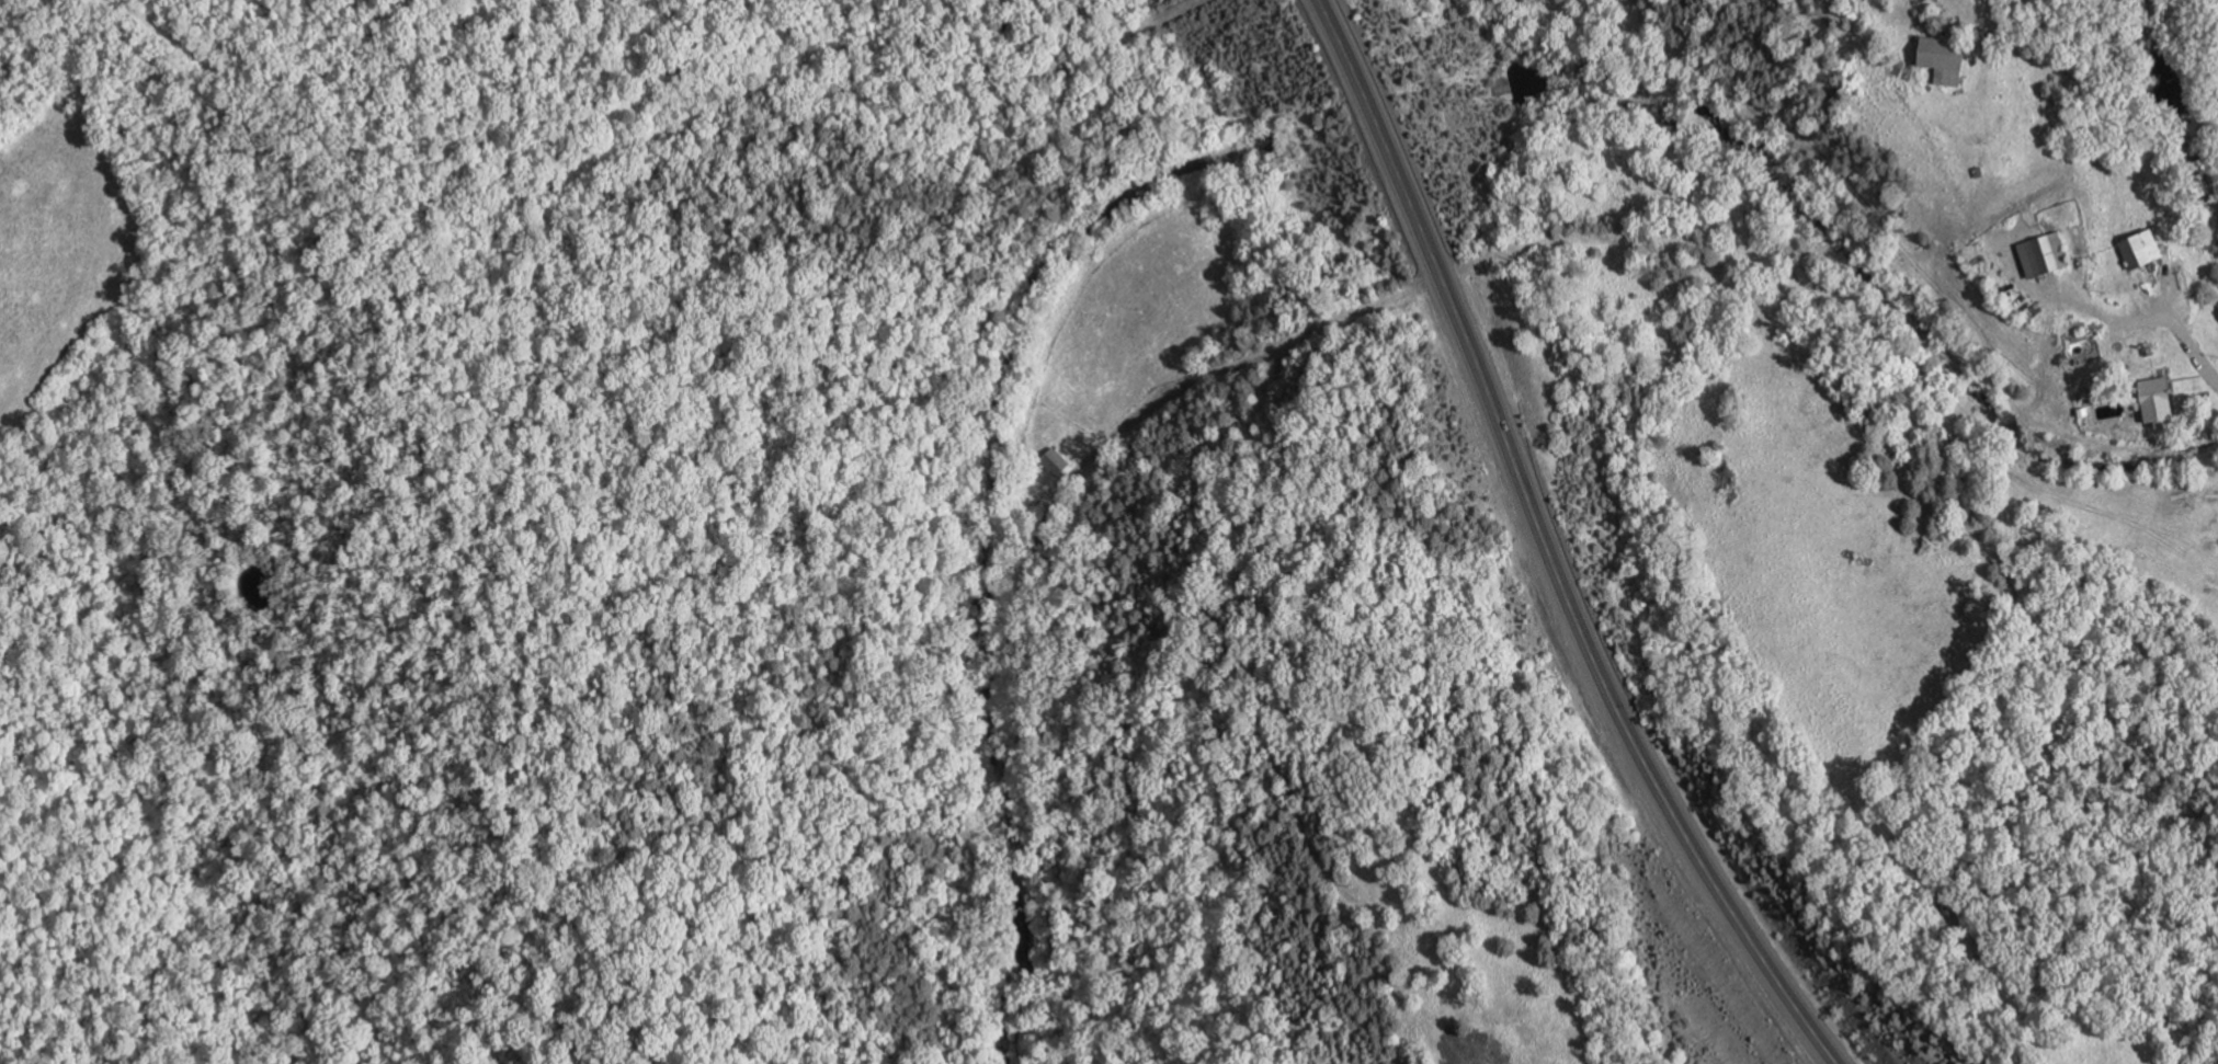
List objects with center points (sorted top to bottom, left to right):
road: (1164, 13)
building: (1944, 57)
road: (1418, 215)
building: (2142, 248)
building: (2044, 254)
road: (2175, 296)
road: (2134, 320)
road: (1243, 361)
building: (2156, 399)
building: (1054, 460)
road: (1642, 762)

